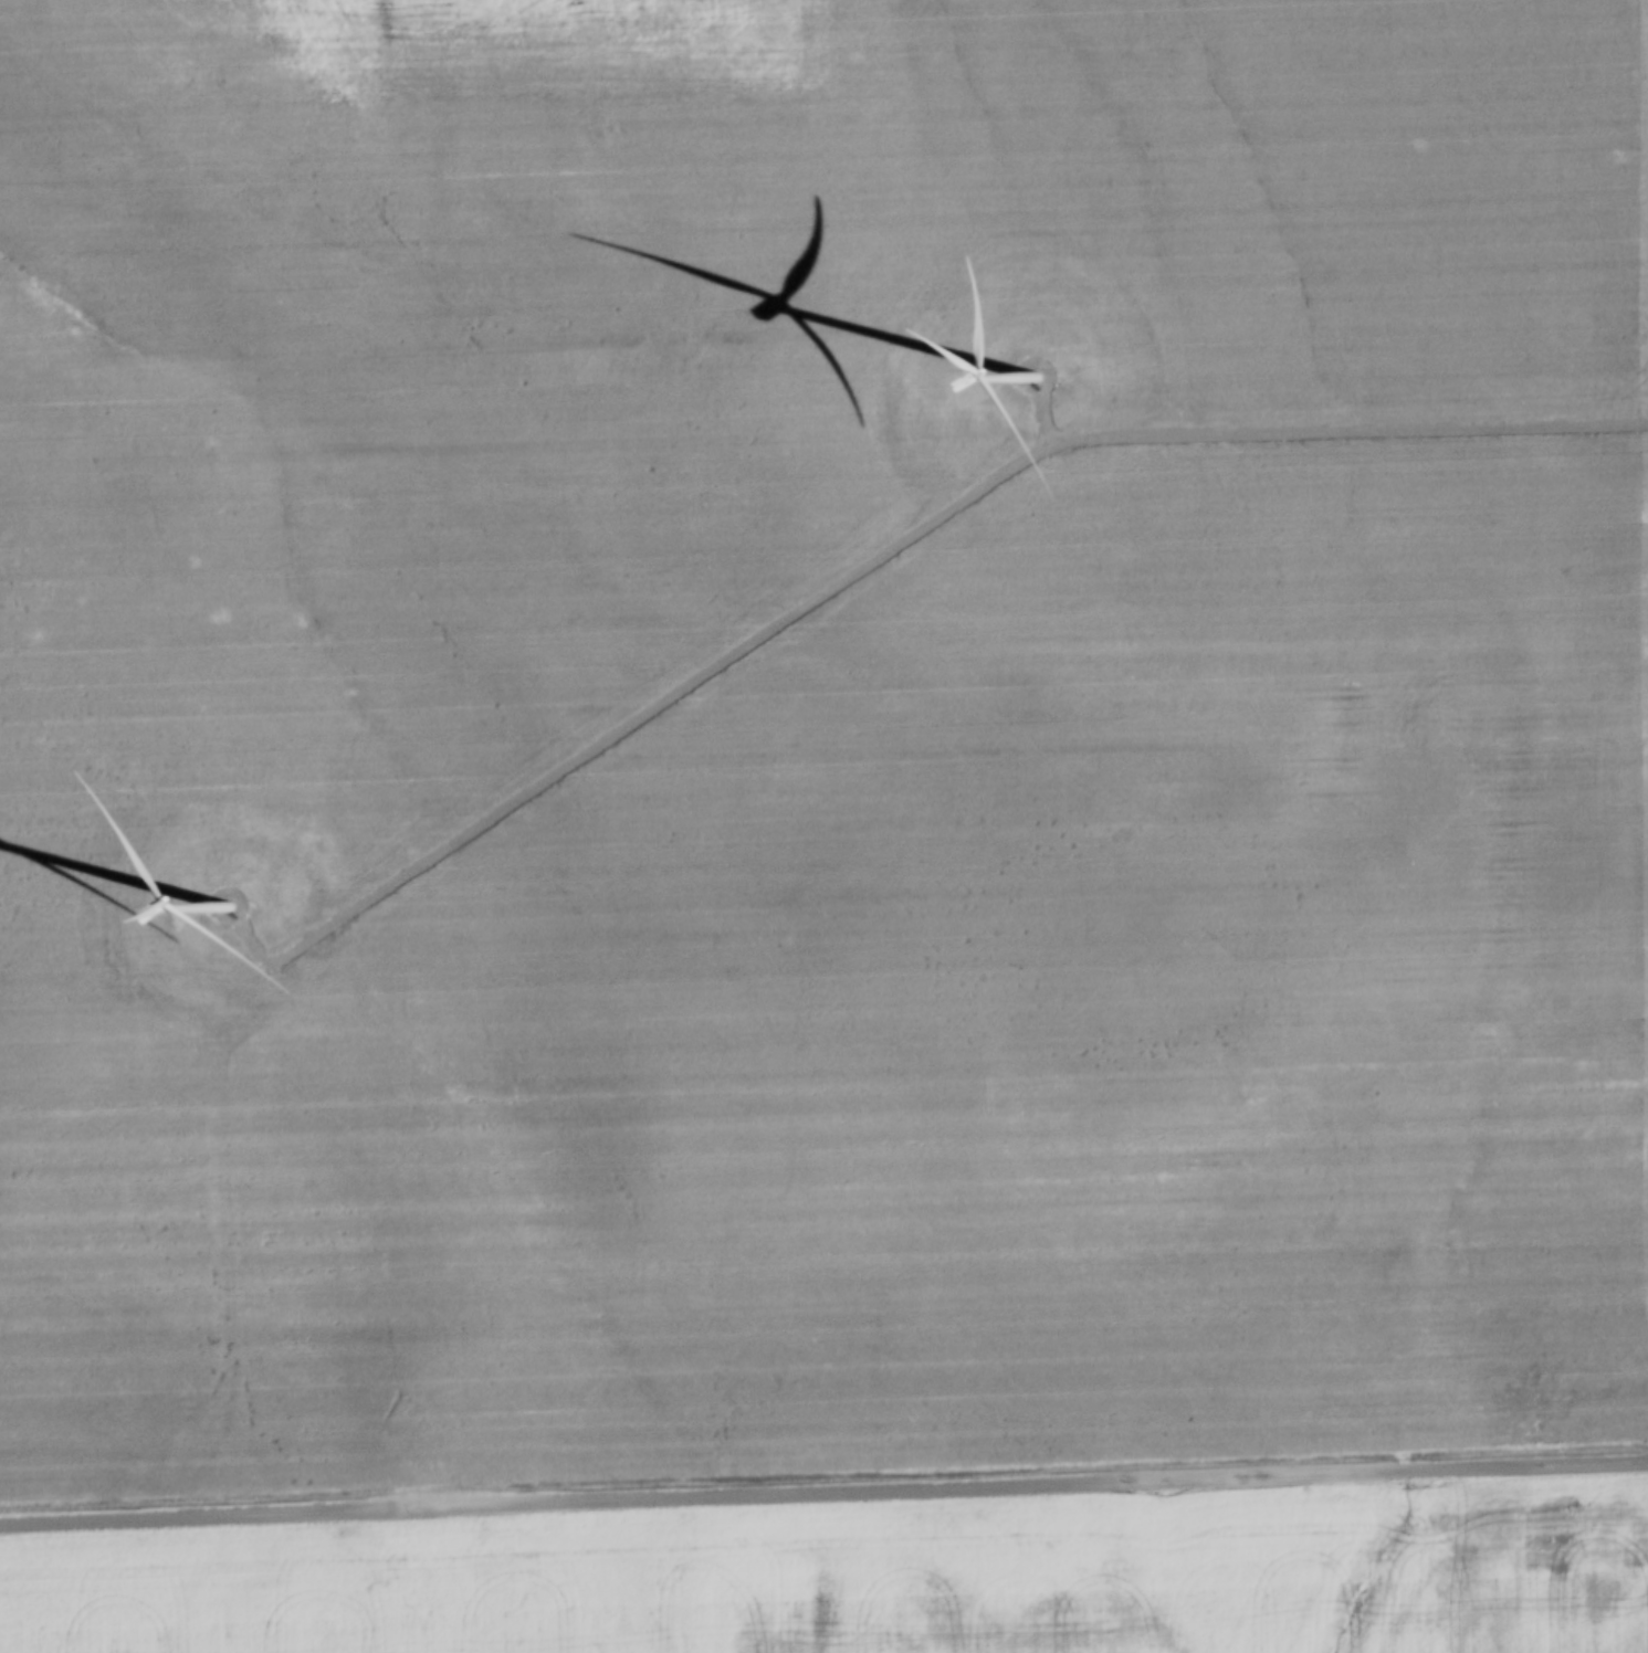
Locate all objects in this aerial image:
wind turbine: (1033, 383)
wind turbine: (232, 901)
road: (823, 1492)

